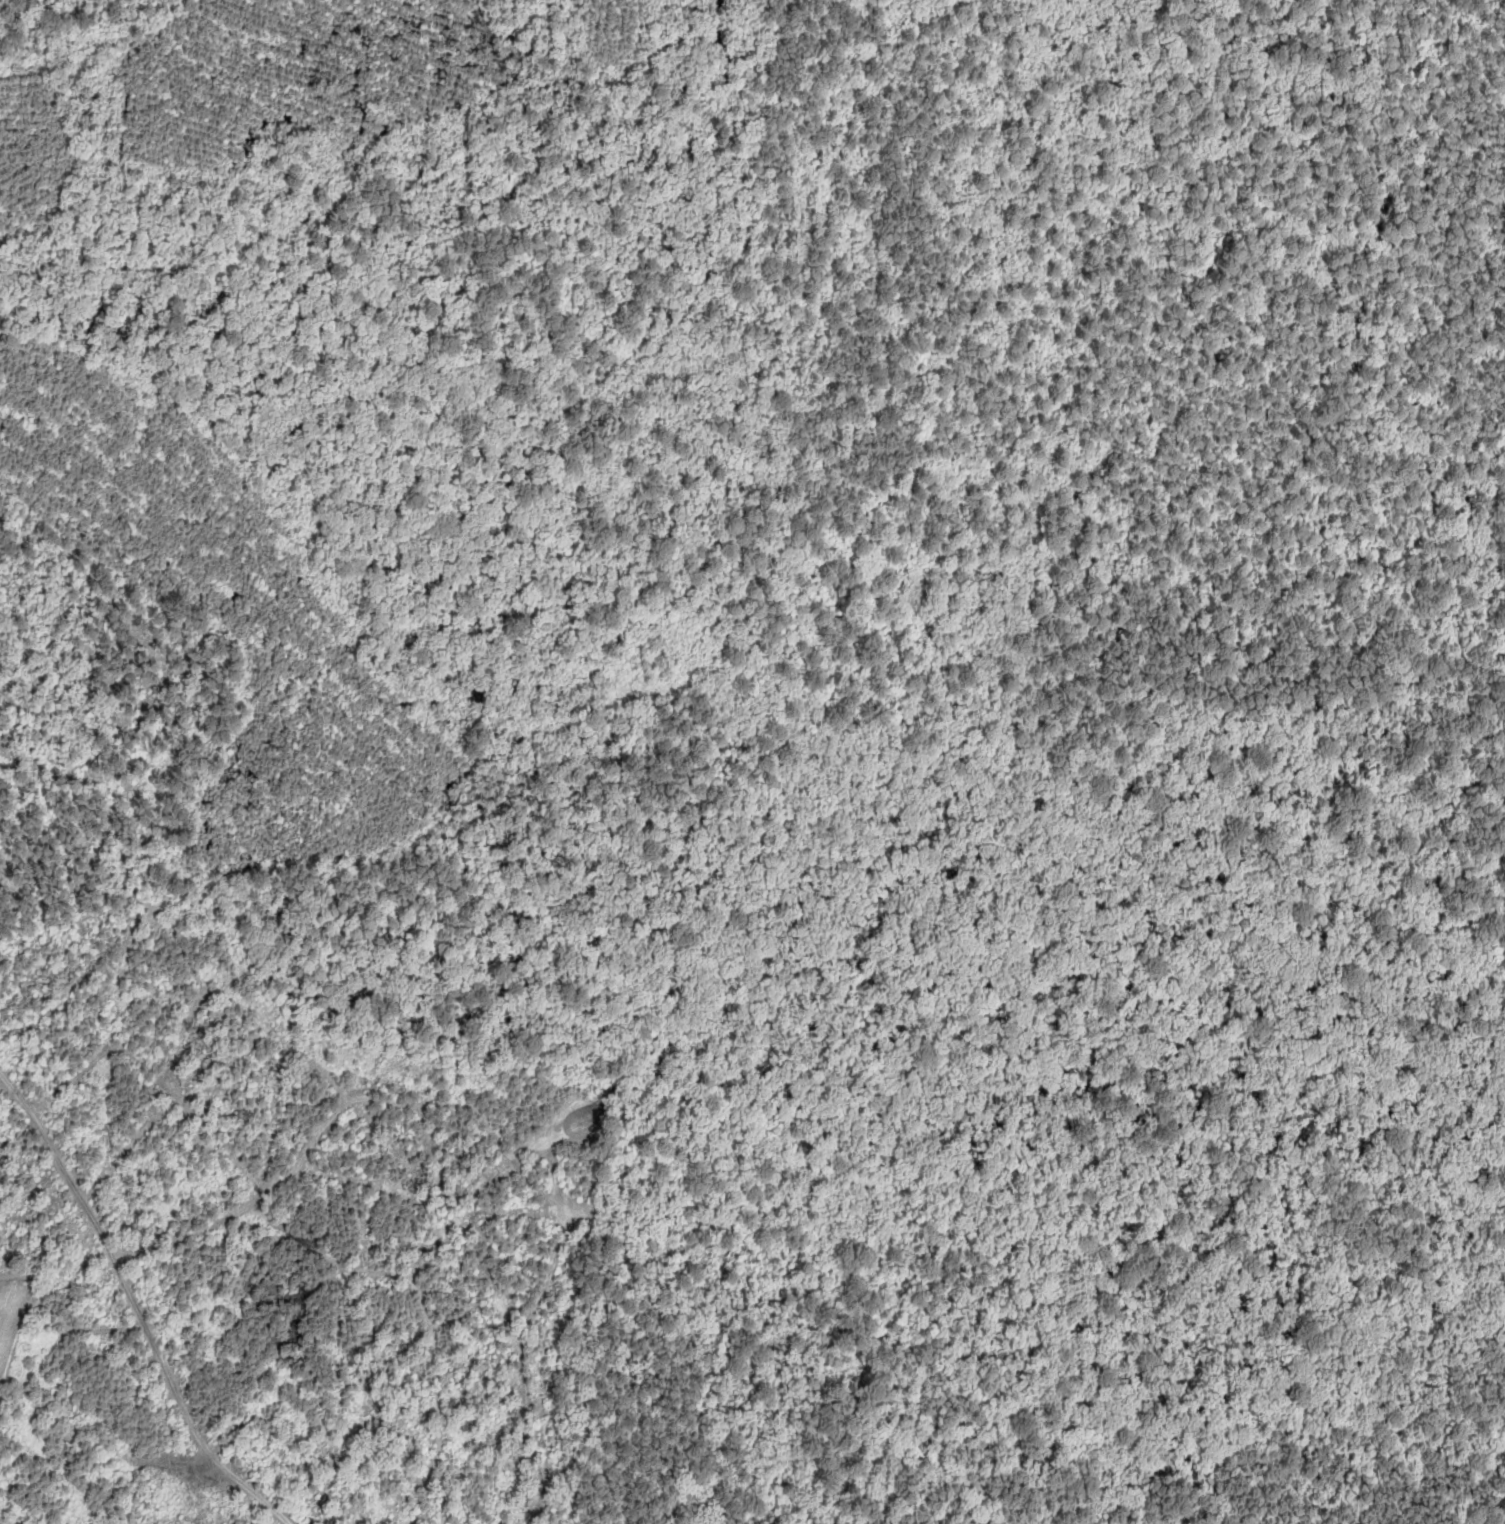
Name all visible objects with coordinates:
park: (1102, 815)

